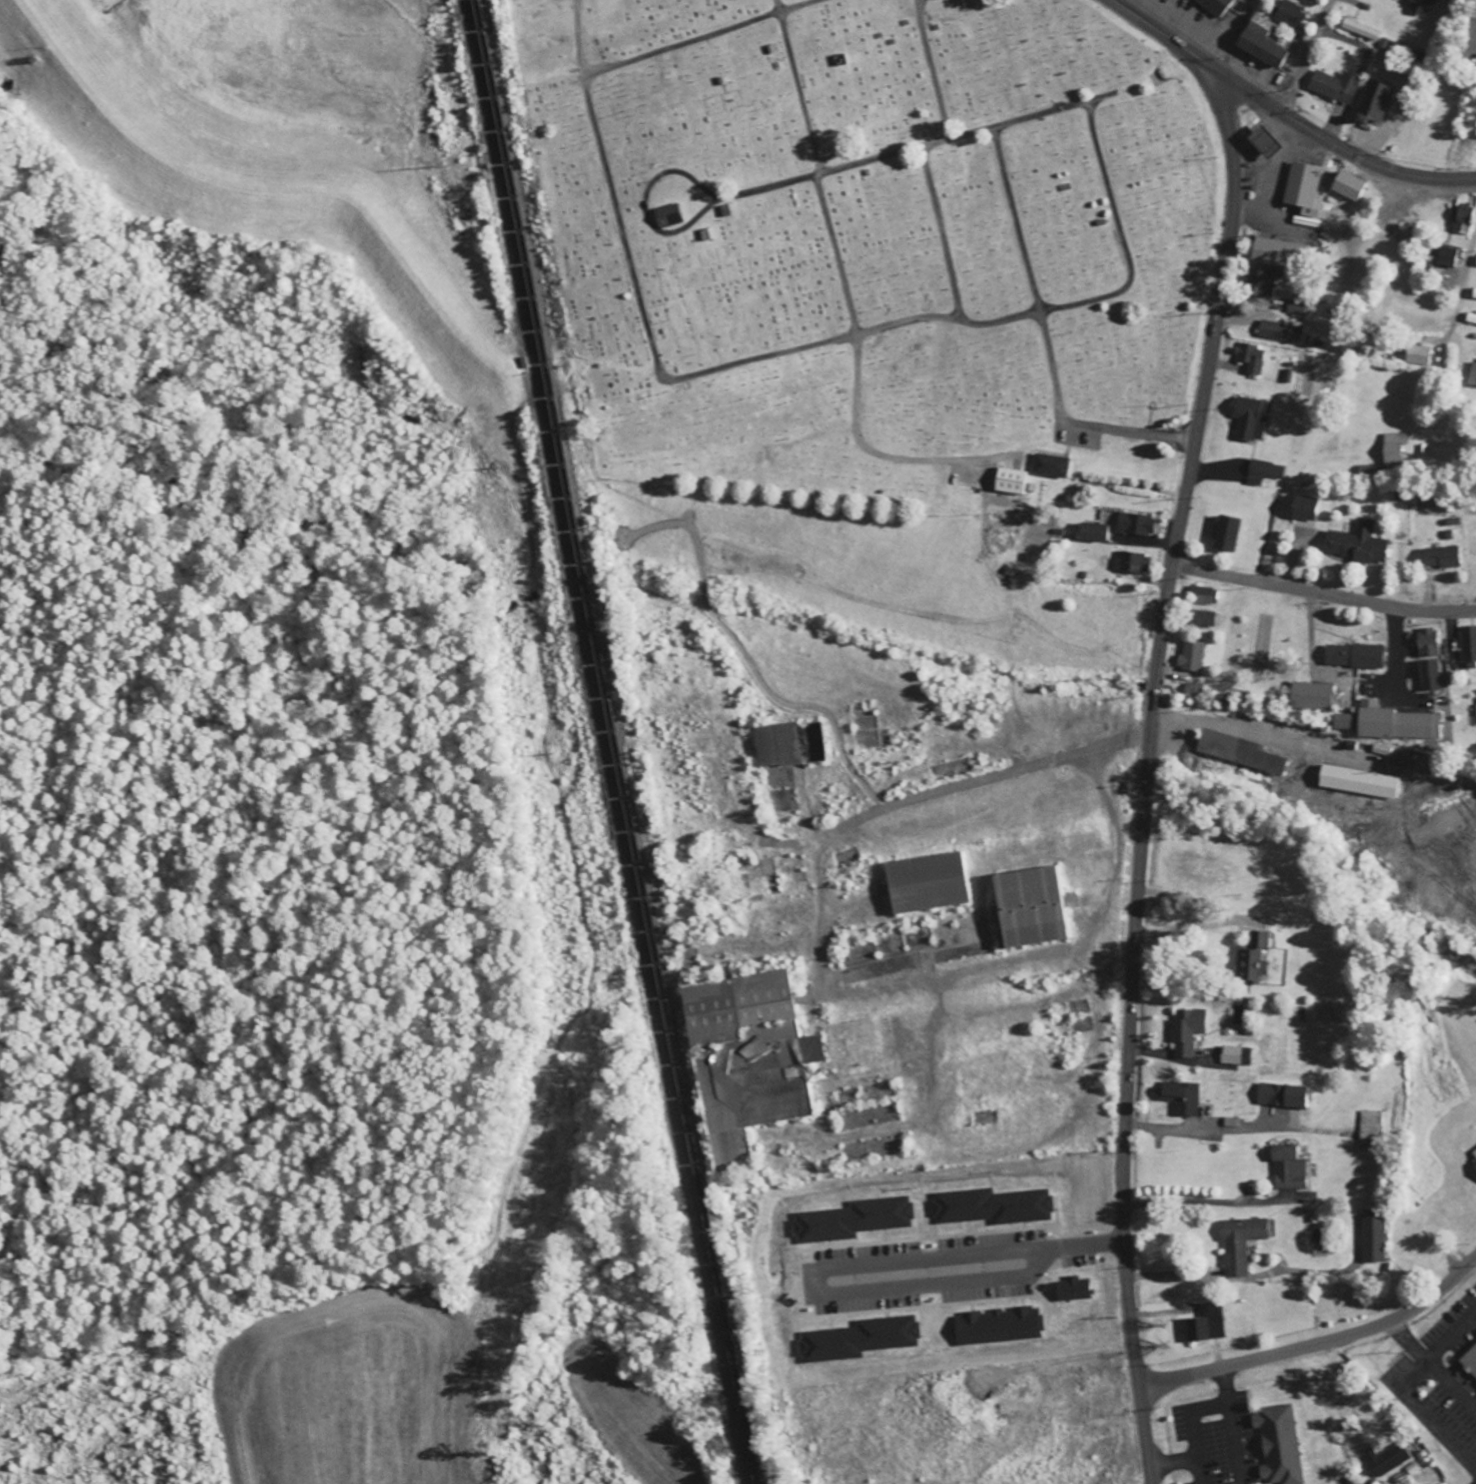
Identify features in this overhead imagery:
building: (1311, 0)
building: (1213, 6)
building: (1416, 7)
building: (1287, 14)
building: (1358, 29)
road: (1173, 42)
building: (1260, 42)
road: (1311, 46)
road: (931, 69)
building: (1332, 86)
building: (1370, 102)
road: (1287, 103)
building: (1262, 142)
road: (909, 148)
road: (1349, 154)
road: (674, 172)
road: (818, 172)
building: (1344, 185)
building: (1302, 193)
building: (667, 215)
building: (1459, 219)
road: (940, 233)
park: (870, 243)
building: (1280, 254)
building: (1443, 257)
building: (1475, 260)
road: (1462, 276)
building: (1258, 281)
building: (1472, 293)
building: (1297, 308)
building: (1469, 318)
building: (1278, 331)
road: (1045, 335)
road: (770, 355)
building: (1415, 355)
building: (1248, 358)
building: (1471, 374)
building: (1248, 417)
building: (1391, 449)
building: (1048, 465)
building: (1262, 472)
building: (1009, 481)
building: (1303, 511)
building: (1134, 524)
building: (1091, 532)
building: (1224, 534)
building: (1356, 544)
building: (1439, 557)
building: (1130, 562)
road: (1323, 592)
building: (1200, 595)
building: (1201, 619)
building: (1426, 642)
building: (1468, 647)
building: (1353, 655)
building: (1190, 656)
building: (1428, 675)
building: (1191, 688)
building: (1309, 696)
building: (1475, 710)
building: (1341, 722)
building: (1393, 723)
railway: (605, 742)
building: (787, 743)
building: (1215, 745)
building: (1255, 758)
road: (1146, 779)
building: (1356, 782)
building: (926, 882)
building: (1030, 906)
building: (1251, 957)
building: (1186, 1031)
building: (1234, 1055)
building: (747, 1059)
building: (1280, 1095)
building: (1181, 1097)
building: (1369, 1130)
building: (1474, 1163)
building: (1288, 1167)
building: (987, 1206)
building: (851, 1219)
building: (1371, 1236)
building: (1239, 1243)
building: (1070, 1289)
building: (1202, 1324)
building: (994, 1326)
building: (857, 1339)
road: (1317, 1344)
building: (1471, 1354)
parking lot: (1444, 1373)
building: (1277, 1444)
building: (1383, 1460)

